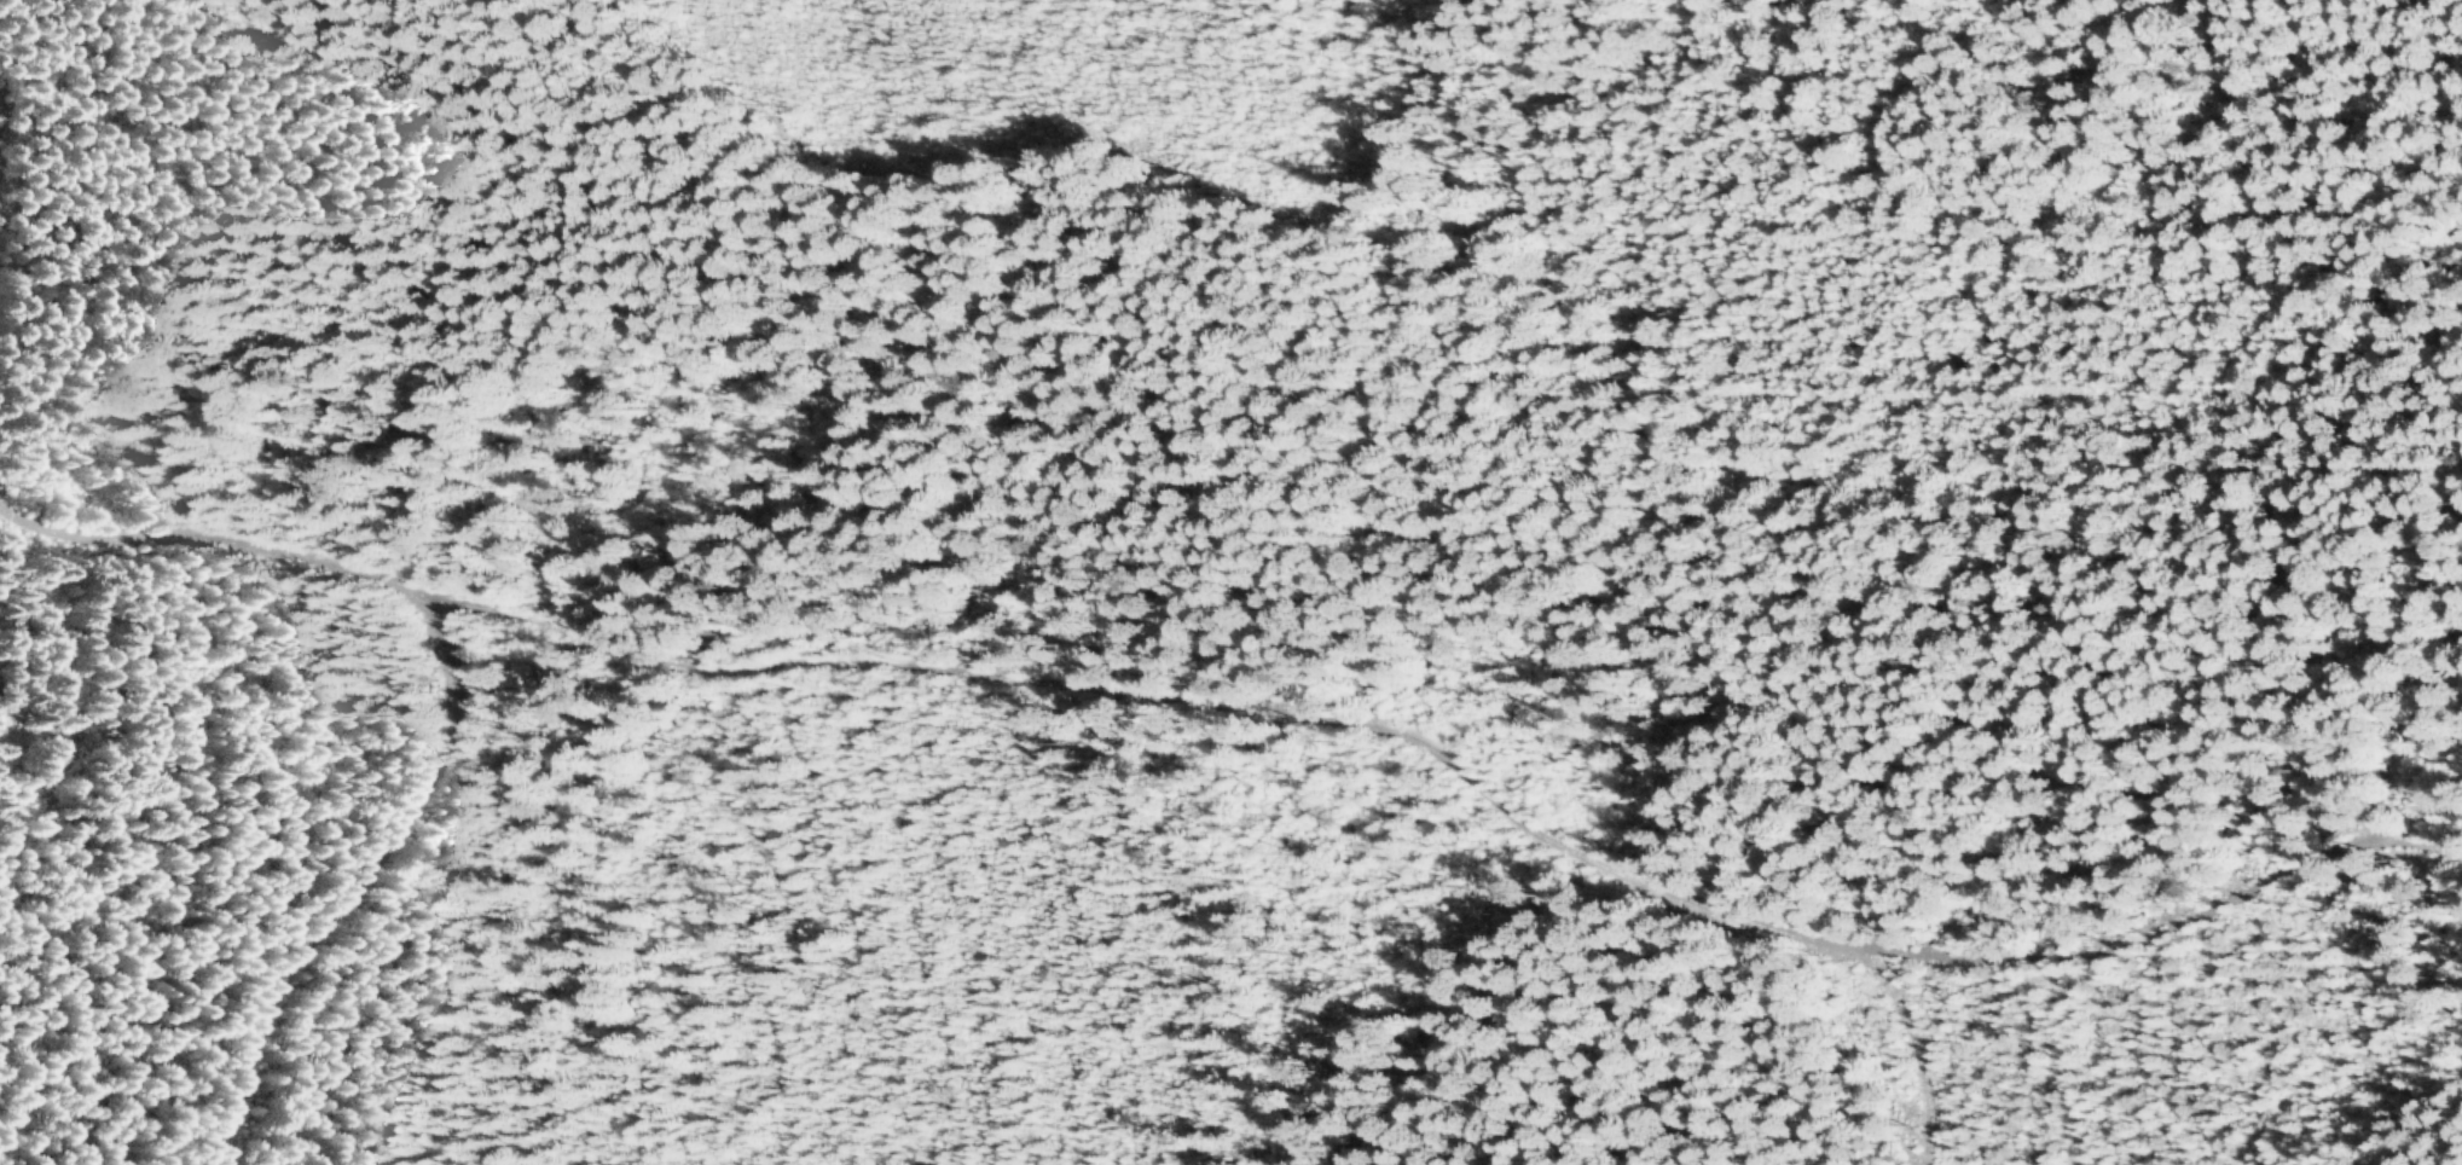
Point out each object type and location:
road: (457, 685)
road: (1466, 781)

